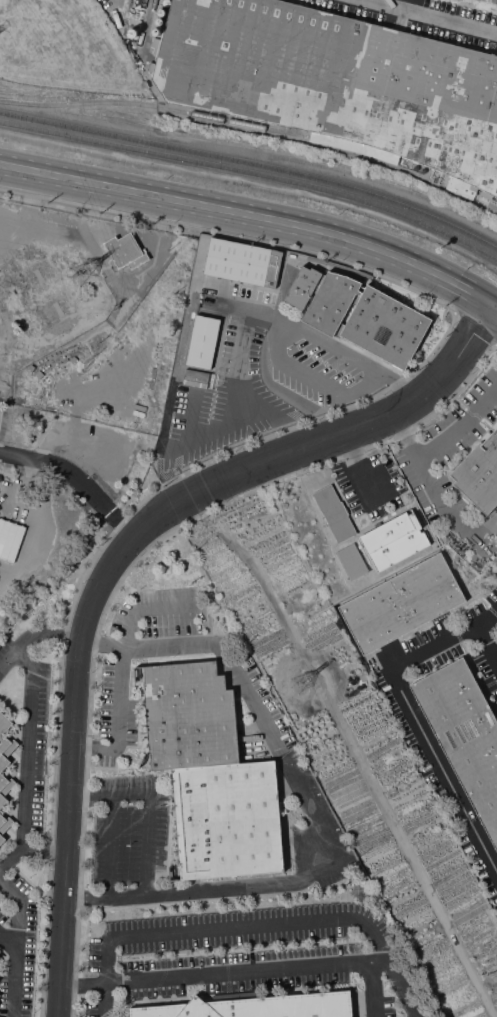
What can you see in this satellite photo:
building: (166, 2)
building: (161, 12)
road: (429, 17)
building: (159, 21)
building: (156, 31)
building: (132, 32)
building: (336, 83)
railway: (154, 105)
railway: (253, 163)
building: (417, 168)
railway: (254, 173)
road: (251, 216)
building: (126, 251)
building: (242, 262)
power tower: (84, 269)
building: (302, 286)
road: (494, 303)
building: (367, 318)
road: (302, 330)
road: (274, 335)
building: (203, 341)
building: (194, 374)
power substation: (78, 382)
road: (322, 383)
road: (272, 388)
road: (404, 389)
road: (230, 390)
road: (251, 406)
road: (374, 424)
road: (460, 425)
road: (360, 467)
building: (479, 472)
road: (75, 478)
road: (430, 485)
building: (334, 512)
building: (7, 537)
building: (393, 539)
building: (352, 561)
building: (401, 603)
road: (165, 607)
road: (477, 622)
road: (34, 634)
road: (89, 642)
power tower: (306, 686)
road: (116, 707)
building: (189, 716)
road: (73, 722)
road: (420, 729)
building: (464, 734)
road: (28, 744)
road: (81, 744)
building: (5, 757)
road: (128, 793)
road: (79, 794)
road: (100, 794)
road: (303, 804)
building: (227, 820)
building: (4, 826)
road: (29, 847)
road: (73, 896)
road: (16, 911)
road: (243, 924)
road: (273, 966)
road: (13, 972)
road: (105, 999)
building: (256, 1007)

